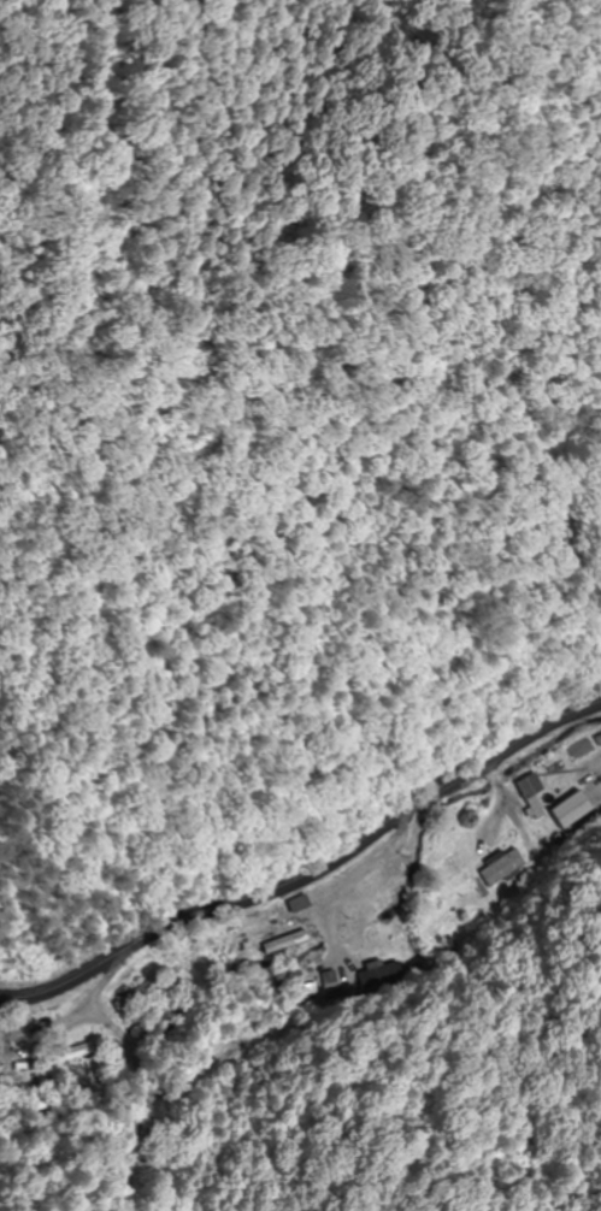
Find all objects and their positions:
building: (536, 785)
building: (544, 808)
building: (581, 809)
road: (310, 872)
building: (297, 903)
building: (466, 905)
building: (137, 993)
building: (67, 1053)

